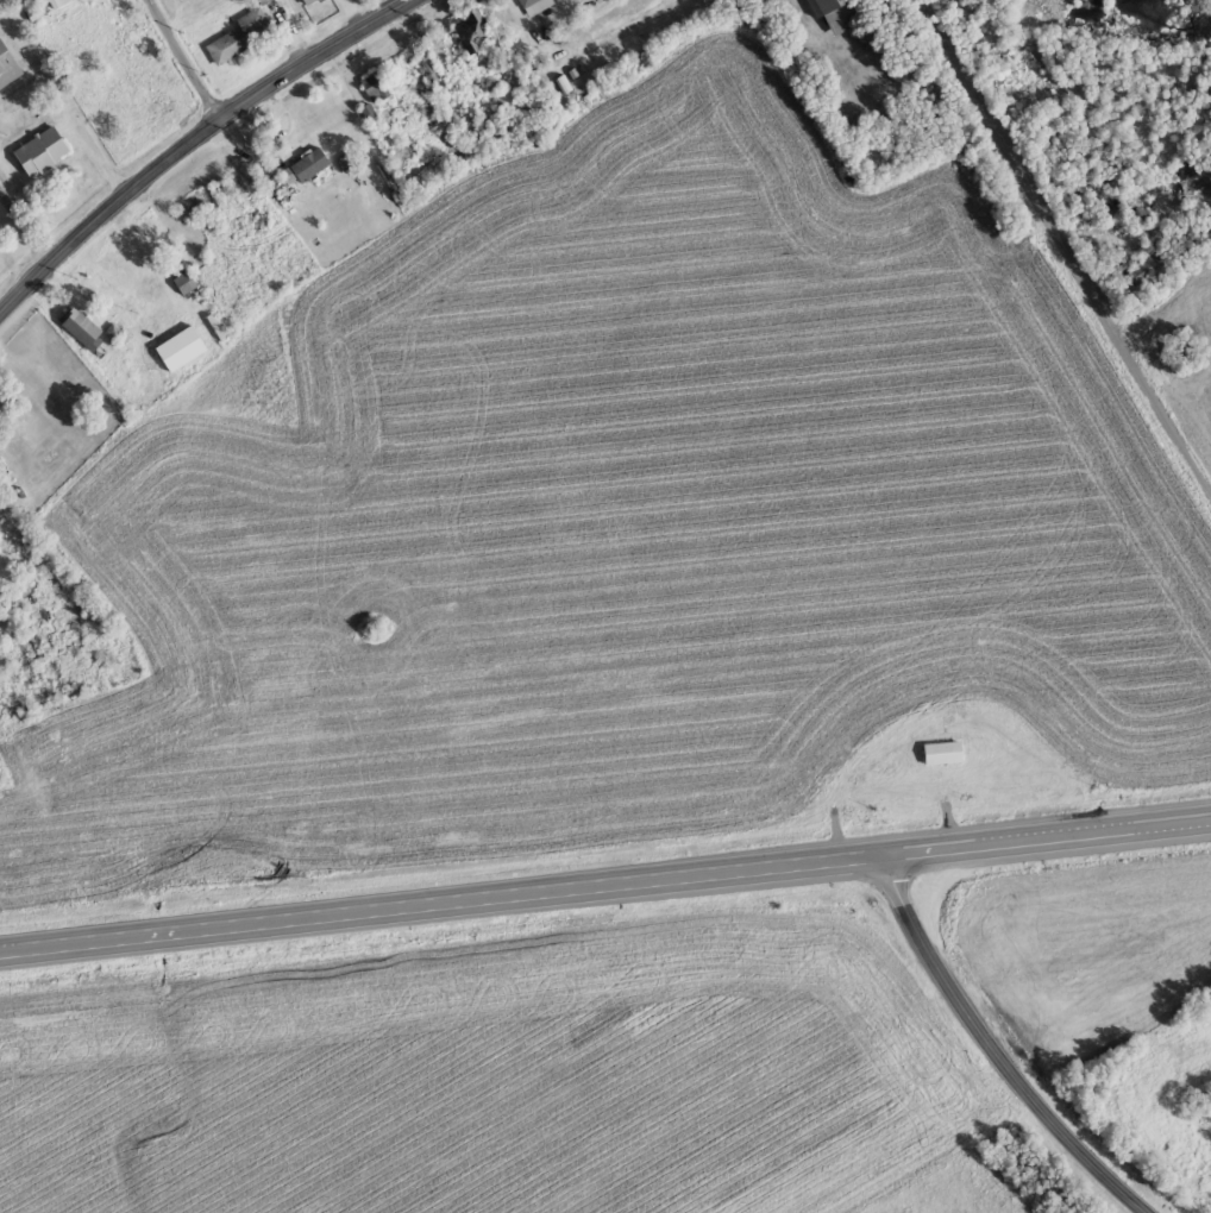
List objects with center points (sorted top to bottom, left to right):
building: (264, 0)
building: (42, 1)
building: (309, 1)
building: (525, 1)
building: (837, 13)
building: (475, 30)
building: (239, 37)
road: (189, 57)
building: (8, 67)
building: (431, 68)
building: (377, 87)
building: (371, 114)
road: (193, 140)
building: (44, 151)
building: (306, 166)
road: (1066, 241)
building: (1148, 269)
building: (83, 327)
building: (115, 332)
building: (183, 348)
building: (945, 753)
road: (1049, 831)
road: (444, 897)
road: (996, 1048)

